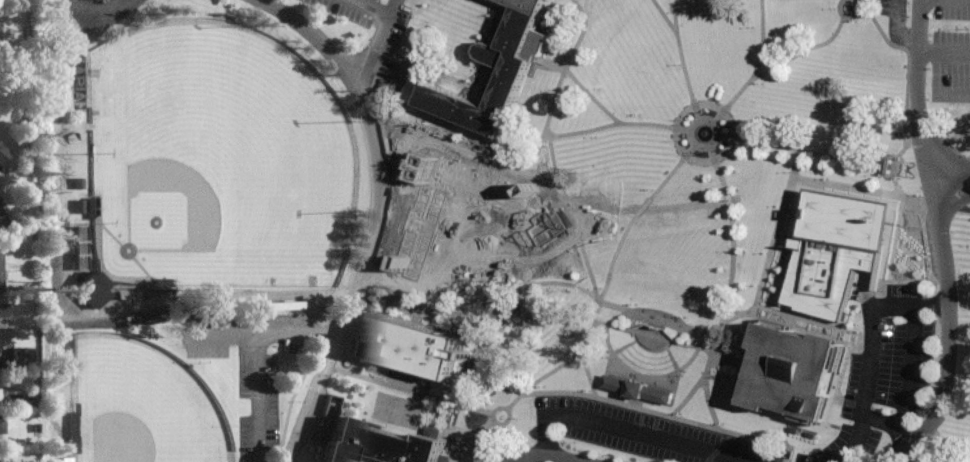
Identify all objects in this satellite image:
road: (862, 3)
road: (675, 7)
road: (491, 8)
road: (366, 9)
parking lot: (892, 9)
road: (849, 15)
road: (581, 19)
parking lot: (367, 22)
road: (585, 33)
parking lot: (952, 37)
building: (868, 40)
road: (320, 42)
road: (803, 48)
road: (915, 48)
road: (680, 60)
road: (758, 61)
road: (553, 63)
building: (868, 65)
road: (428, 68)
road: (567, 69)
building: (515, 71)
building: (954, 82)
road: (694, 105)
road: (905, 105)
road: (610, 123)
fountain: (704, 133)
park: (232, 145)
road: (442, 145)
road: (376, 146)
road: (804, 149)
building: (2, 153)
road: (949, 165)
building: (75, 182)
road: (887, 185)
road: (836, 188)
road: (953, 190)
road: (442, 191)
road: (562, 192)
building: (74, 205)
building: (0, 220)
road: (440, 229)
parking lot: (443, 229)
road: (770, 230)
road: (512, 233)
road: (944, 238)
road: (620, 244)
building: (81, 247)
building: (835, 248)
road: (432, 271)
building: (96, 287)
road: (520, 290)
building: (135, 293)
road: (167, 300)
building: (3, 309)
road: (659, 315)
road: (792, 315)
road: (228, 334)
building: (419, 346)
road: (704, 348)
parking lot: (892, 355)
road: (259, 357)
road: (571, 357)
road: (870, 357)
road: (911, 357)
building: (17, 358)
parking lot: (252, 365)
building: (800, 373)
road: (638, 374)
road: (322, 377)
road: (462, 379)
road: (392, 386)
building: (640, 388)
road: (636, 392)
road: (292, 394)
road: (687, 399)
road: (710, 403)
road: (458, 405)
park: (143, 406)
road: (506, 411)
road: (48, 417)
building: (68, 426)
building: (74, 427)
building: (0, 428)
road: (635, 430)
building: (31, 431)
parking lot: (644, 432)
road: (745, 439)
road: (856, 440)
building: (382, 443)
road: (480, 443)
road: (553, 455)

